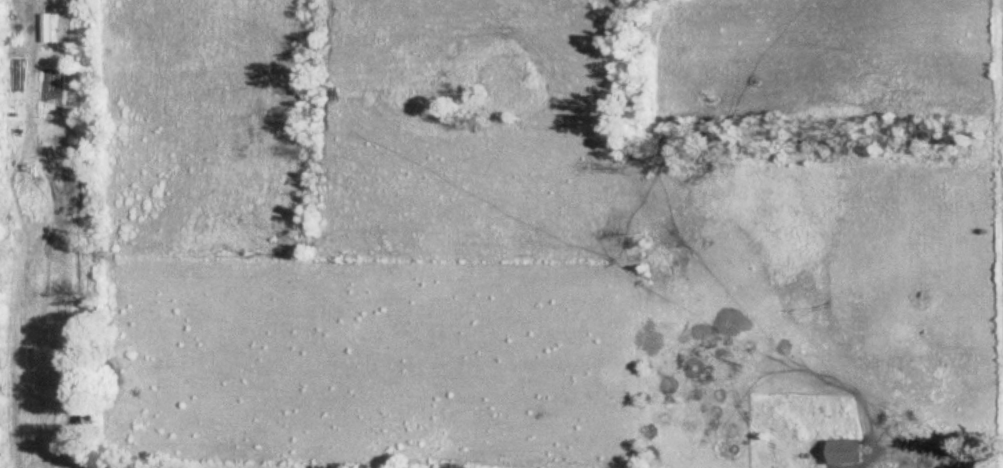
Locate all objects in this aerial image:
building: (52, 28)
building: (841, 451)
building: (955, 463)

